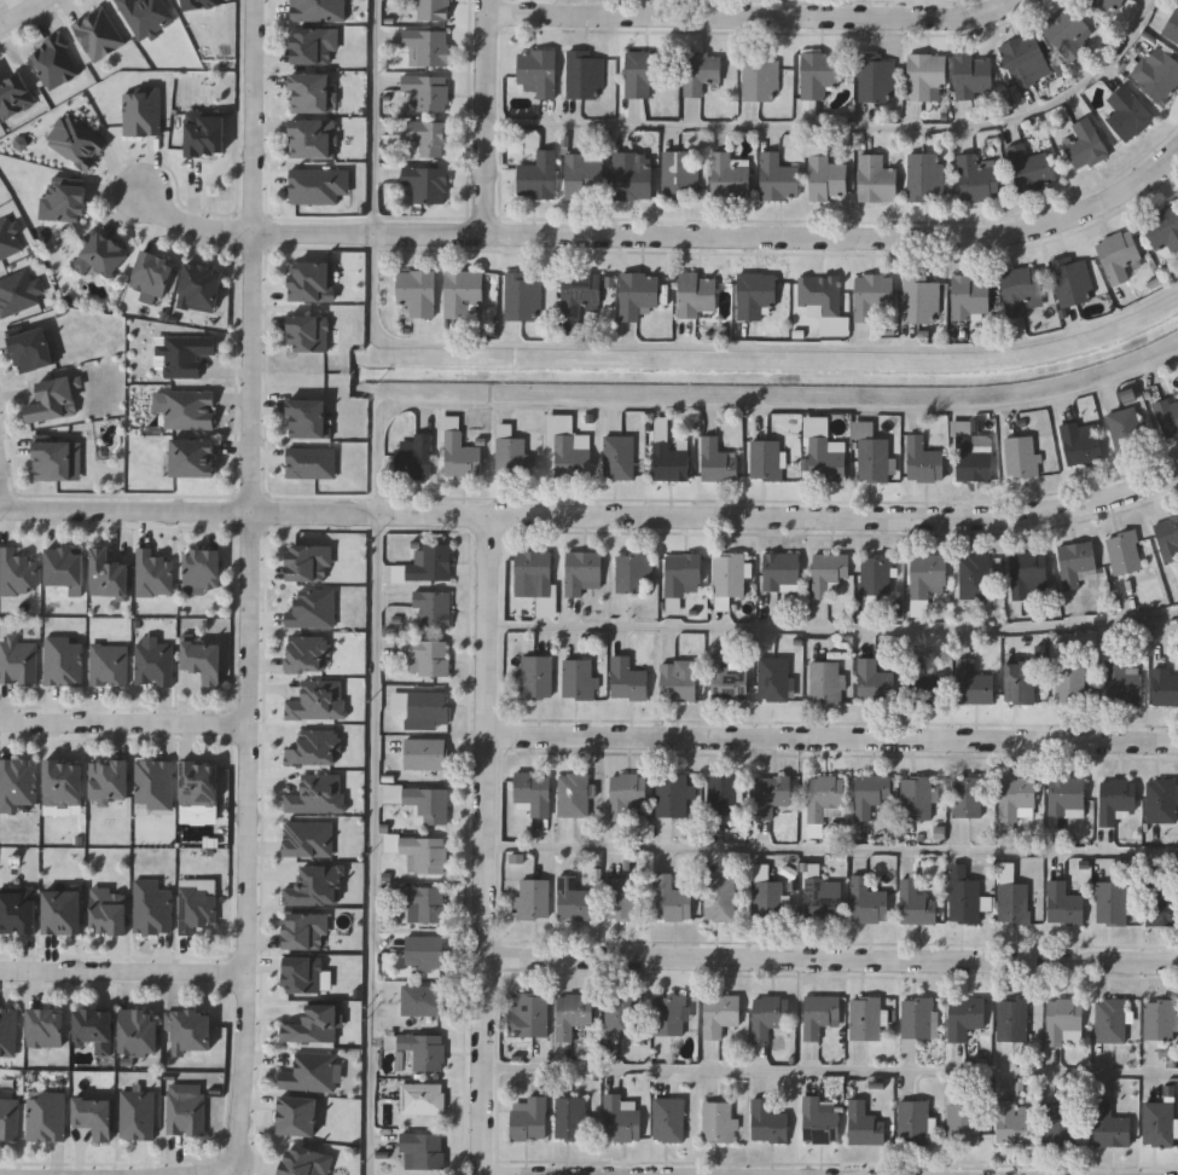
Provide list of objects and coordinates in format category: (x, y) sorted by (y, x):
building: (198, 4)
building: (1108, 5)
building: (319, 10)
building: (433, 10)
road: (21, 12)
building: (145, 15)
road: (754, 17)
building: (1172, 28)
building: (1069, 31)
building: (315, 46)
building: (428, 47)
building: (1027, 60)
building: (53, 62)
building: (702, 71)
building: (539, 73)
building: (643, 73)
building: (820, 74)
building: (585, 75)
building: (927, 75)
building: (1159, 75)
building: (876, 77)
building: (975, 77)
building: (761, 79)
building: (426, 92)
building: (311, 93)
building: (14, 94)
building: (141, 110)
building: (1128, 112)
road: (383, 117)
road: (488, 117)
road: (846, 128)
building: (205, 133)
building: (430, 137)
building: (313, 138)
building: (76, 140)
building: (1086, 145)
building: (1031, 168)
building: (633, 174)
building: (681, 174)
building: (539, 175)
building: (585, 175)
building: (730, 176)
building: (927, 176)
building: (779, 178)
building: (830, 178)
building: (980, 178)
building: (877, 179)
building: (426, 183)
building: (64, 199)
building: (1162, 230)
road: (250, 231)
building: (8, 237)
road: (788, 238)
building: (100, 253)
building: (1118, 254)
road: (251, 256)
building: (151, 272)
building: (1072, 279)
building: (311, 280)
building: (201, 286)
building: (1020, 288)
building: (416, 291)
building: (462, 291)
building: (578, 291)
building: (754, 291)
building: (637, 293)
building: (871, 294)
building: (521, 295)
building: (696, 295)
building: (969, 296)
building: (919, 297)
building: (822, 301)
building: (307, 332)
road: (731, 347)
building: (31, 349)
building: (185, 353)
building: (53, 399)
building: (185, 406)
road: (730, 410)
building: (1167, 416)
building: (307, 417)
building: (1125, 429)
building: (1079, 444)
building: (568, 446)
building: (823, 451)
building: (413, 455)
building: (459, 456)
building: (510, 456)
building: (1021, 456)
building: (192, 457)
building: (617, 457)
building: (973, 457)
building: (765, 458)
building: (872, 458)
building: (53, 459)
building: (716, 459)
building: (923, 459)
building: (668, 461)
road: (1, 502)
road: (188, 514)
road: (781, 519)
building: (1167, 538)
building: (1122, 551)
building: (428, 561)
building: (1077, 562)
building: (309, 563)
building: (63, 567)
building: (201, 568)
building: (532, 569)
building: (633, 569)
building: (781, 569)
building: (580, 571)
building: (828, 571)
building: (680, 572)
building: (16, 573)
building: (152, 573)
building: (727, 573)
building: (1028, 573)
building: (108, 574)
building: (875, 574)
building: (973, 575)
building: (924, 580)
building: (430, 608)
building: (311, 609)
road: (834, 626)
building: (425, 656)
building: (17, 660)
building: (63, 661)
building: (203, 661)
building: (108, 664)
building: (152, 664)
building: (535, 676)
building: (578, 678)
building: (626, 678)
building: (773, 678)
building: (677, 679)
building: (727, 679)
building: (825, 679)
building: (874, 681)
building: (1019, 681)
building: (1070, 682)
building: (1121, 682)
building: (973, 683)
building: (927, 685)
building: (1165, 685)
building: (425, 708)
road: (126, 725)
road: (834, 745)
building: (423, 753)
building: (109, 781)
building: (16, 783)
building: (62, 783)
building: (152, 785)
building: (198, 785)
building: (532, 789)
building: (625, 792)
building: (571, 793)
building: (721, 793)
building: (672, 794)
building: (771, 794)
building: (870, 794)
building: (1066, 794)
building: (824, 797)
building: (916, 797)
building: (965, 797)
building: (1016, 797)
building: (1116, 798)
building: (1161, 799)
building: (433, 805)
road: (249, 841)
road: (376, 844)
road: (491, 846)
road: (834, 850)
building: (420, 851)
building: (962, 892)
building: (1011, 895)
building: (621, 896)
building: (822, 896)
building: (534, 897)
building: (573, 898)
building: (671, 898)
building: (719, 898)
building: (767, 898)
building: (867, 899)
building: (915, 899)
building: (1116, 901)
building: (1064, 902)
building: (423, 903)
building: (1162, 904)
building: (151, 908)
building: (196, 908)
building: (18, 910)
building: (63, 911)
building: (109, 911)
building: (304, 931)
building: (424, 951)
road: (835, 966)
road: (123, 973)
building: (302, 974)
building: (422, 999)
building: (573, 1013)
building: (669, 1013)
building: (719, 1013)
building: (819, 1013)
building: (768, 1014)
building: (527, 1015)
building: (620, 1015)
building: (964, 1015)
building: (865, 1017)
building: (1011, 1018)
building: (1160, 1018)
building: (917, 1019)
building: (1110, 1019)
building: (1063, 1020)
building: (313, 1025)
building: (46, 1026)
building: (94, 1028)
building: (191, 1030)
building: (139, 1031)
building: (419, 1052)
road: (834, 1071)
building: (313, 1072)
building: (422, 1098)
building: (184, 1111)
building: (94, 1116)
building: (297, 1116)
building: (8, 1117)
building: (46, 1117)
building: (528, 1117)
building: (570, 1117)
building: (620, 1117)
building: (1068, 1117)
building: (667, 1118)
building: (718, 1121)
building: (767, 1121)
building: (818, 1121)
building: (912, 1121)
building: (1014, 1122)
building: (864, 1123)
building: (962, 1123)
building: (1159, 1123)
building: (1109, 1125)
building: (422, 1150)
building: (304, 1160)
road: (208, 1171)

